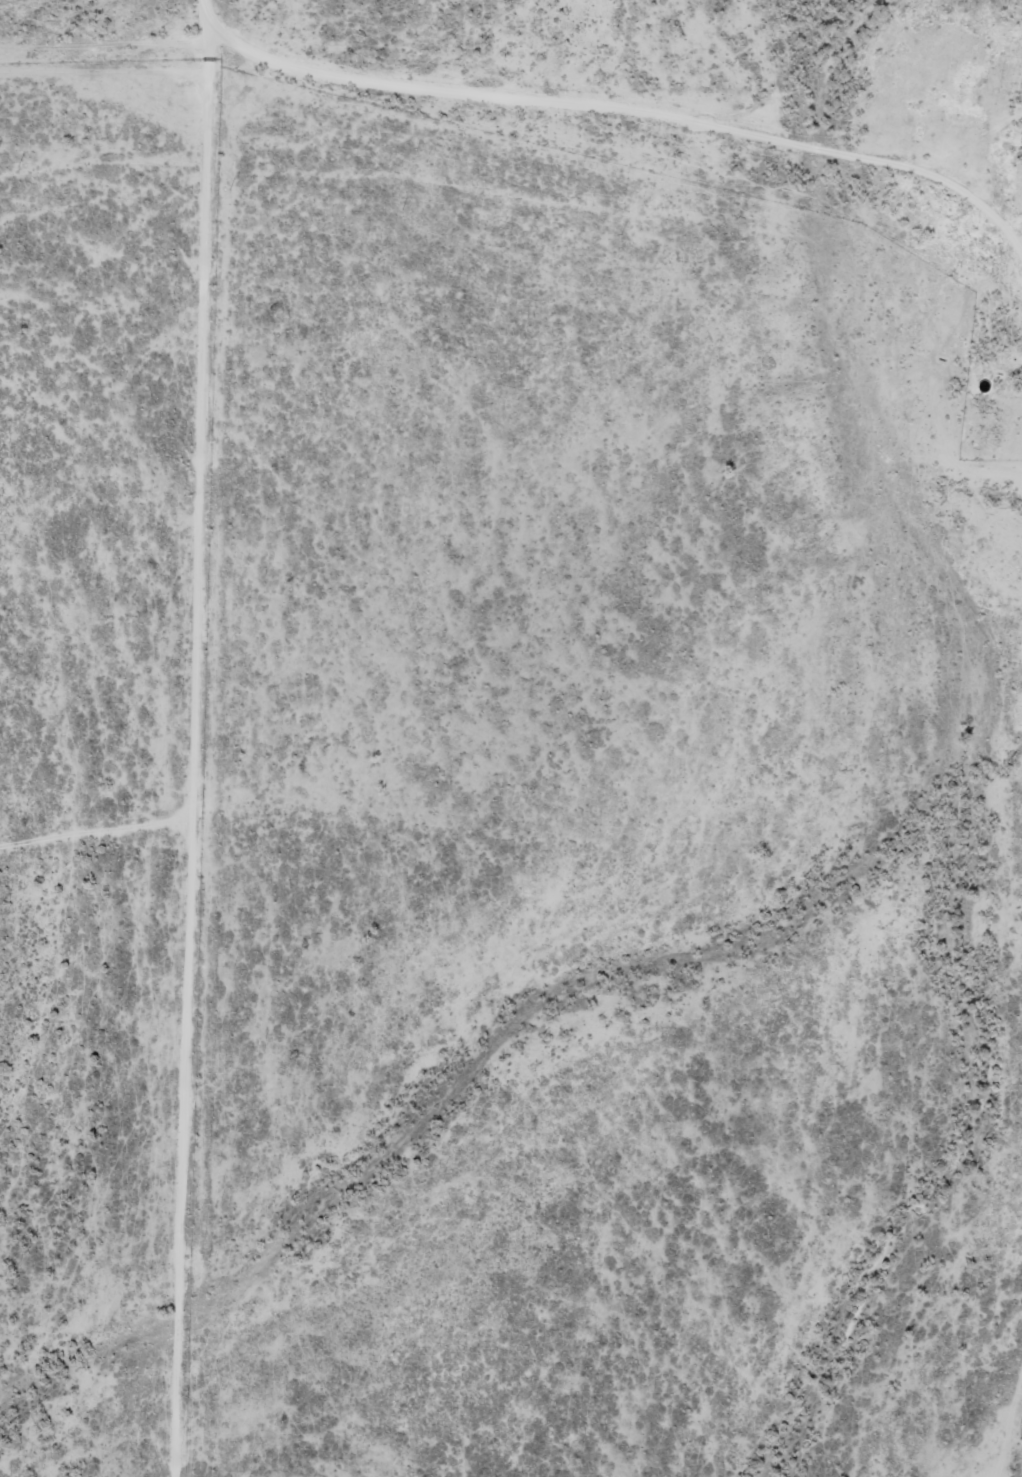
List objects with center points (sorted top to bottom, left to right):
road: (517, 109)
road: (948, 207)
road: (1021, 231)
road: (214, 738)
road: (105, 846)

